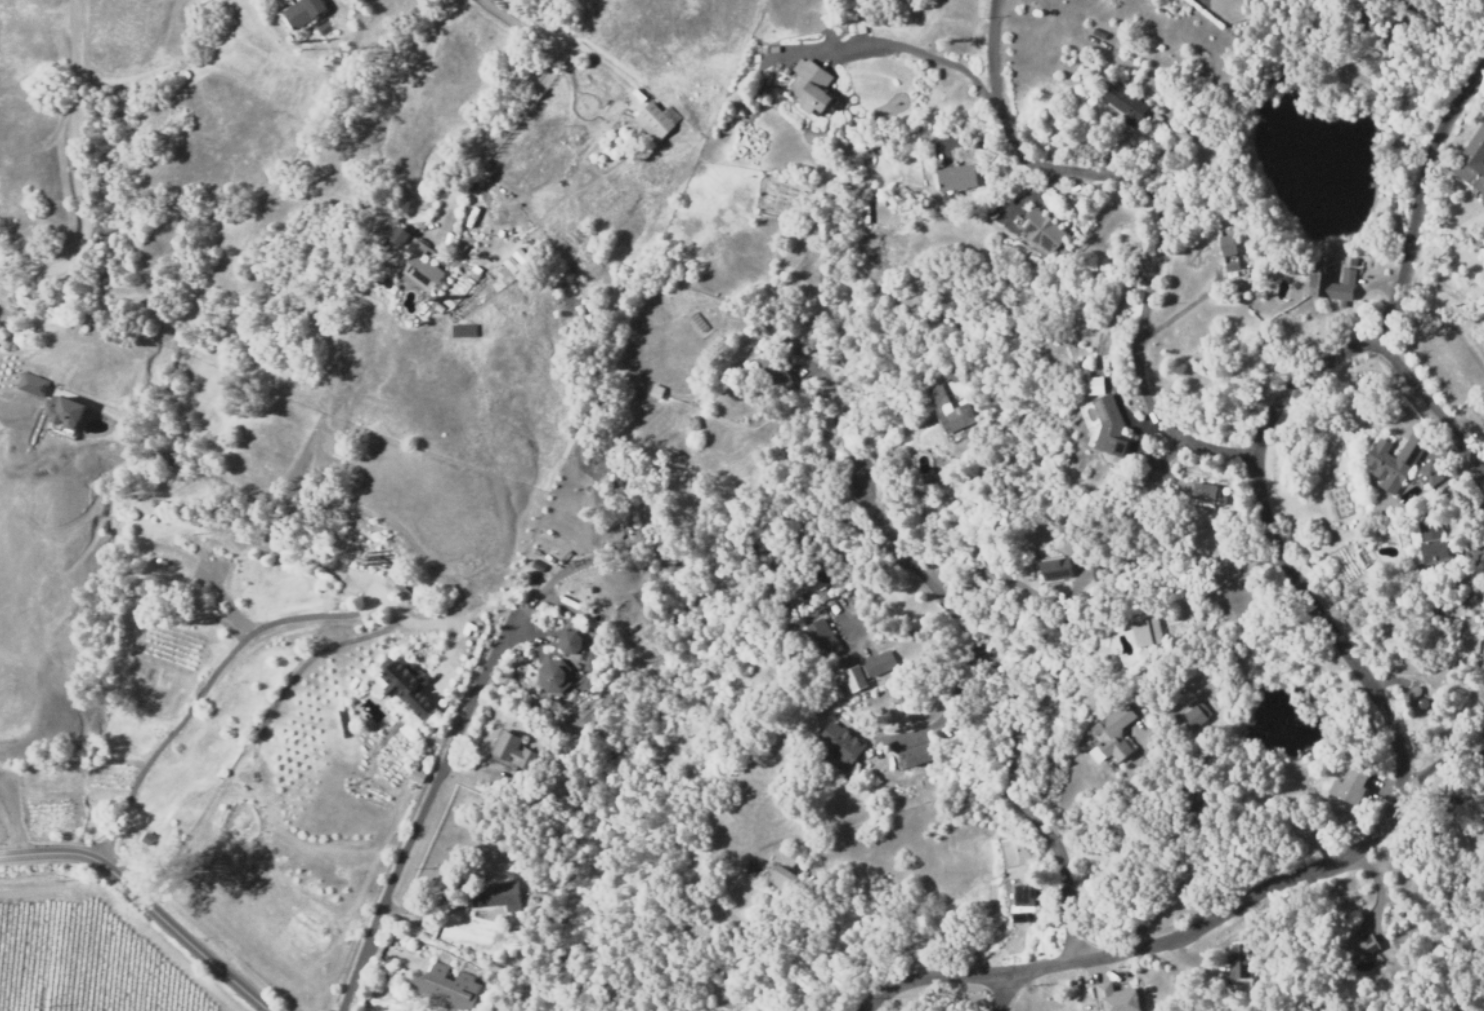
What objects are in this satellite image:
building: (303, 12)
building: (1097, 34)
road: (895, 45)
road: (557, 47)
building: (812, 86)
building: (1125, 104)
building: (655, 121)
building: (1471, 162)
road: (74, 172)
building: (951, 179)
building: (878, 200)
building: (860, 212)
road: (1152, 213)
building: (1045, 232)
building: (1229, 252)
building: (520, 257)
building: (419, 266)
building: (1297, 272)
building: (1320, 278)
building: (788, 345)
building: (775, 371)
building: (953, 373)
building: (31, 383)
building: (1094, 384)
building: (657, 391)
road: (1427, 398)
building: (948, 410)
building: (63, 411)
building: (1106, 418)
building: (694, 422)
building: (1483, 424)
road: (1477, 456)
building: (1395, 460)
building: (1428, 474)
building: (1147, 478)
building: (1208, 494)
building: (286, 522)
building: (272, 529)
building: (134, 539)
building: (322, 540)
building: (272, 542)
building: (1432, 543)
building: (165, 561)
building: (1056, 569)
building: (820, 575)
building: (49, 592)
building: (401, 593)
building: (487, 625)
building: (1144, 630)
building: (821, 636)
road: (249, 638)
building: (569, 642)
building: (882, 662)
building: (554, 676)
road: (1360, 676)
building: (856, 678)
building: (409, 684)
building: (1412, 689)
road: (1012, 698)
building: (1420, 702)
building: (1193, 718)
building: (1114, 732)
building: (841, 745)
building: (514, 751)
building: (917, 757)
building: (420, 773)
building: (1349, 785)
building: (1204, 799)
building: (1481, 813)
road: (15, 821)
road: (420, 826)
building: (789, 856)
building: (782, 879)
building: (502, 893)
building: (475, 900)
building: (1024, 901)
road: (146, 905)
building: (1351, 940)
building: (1239, 959)
building: (447, 988)
road: (1000, 990)
building: (1117, 997)

